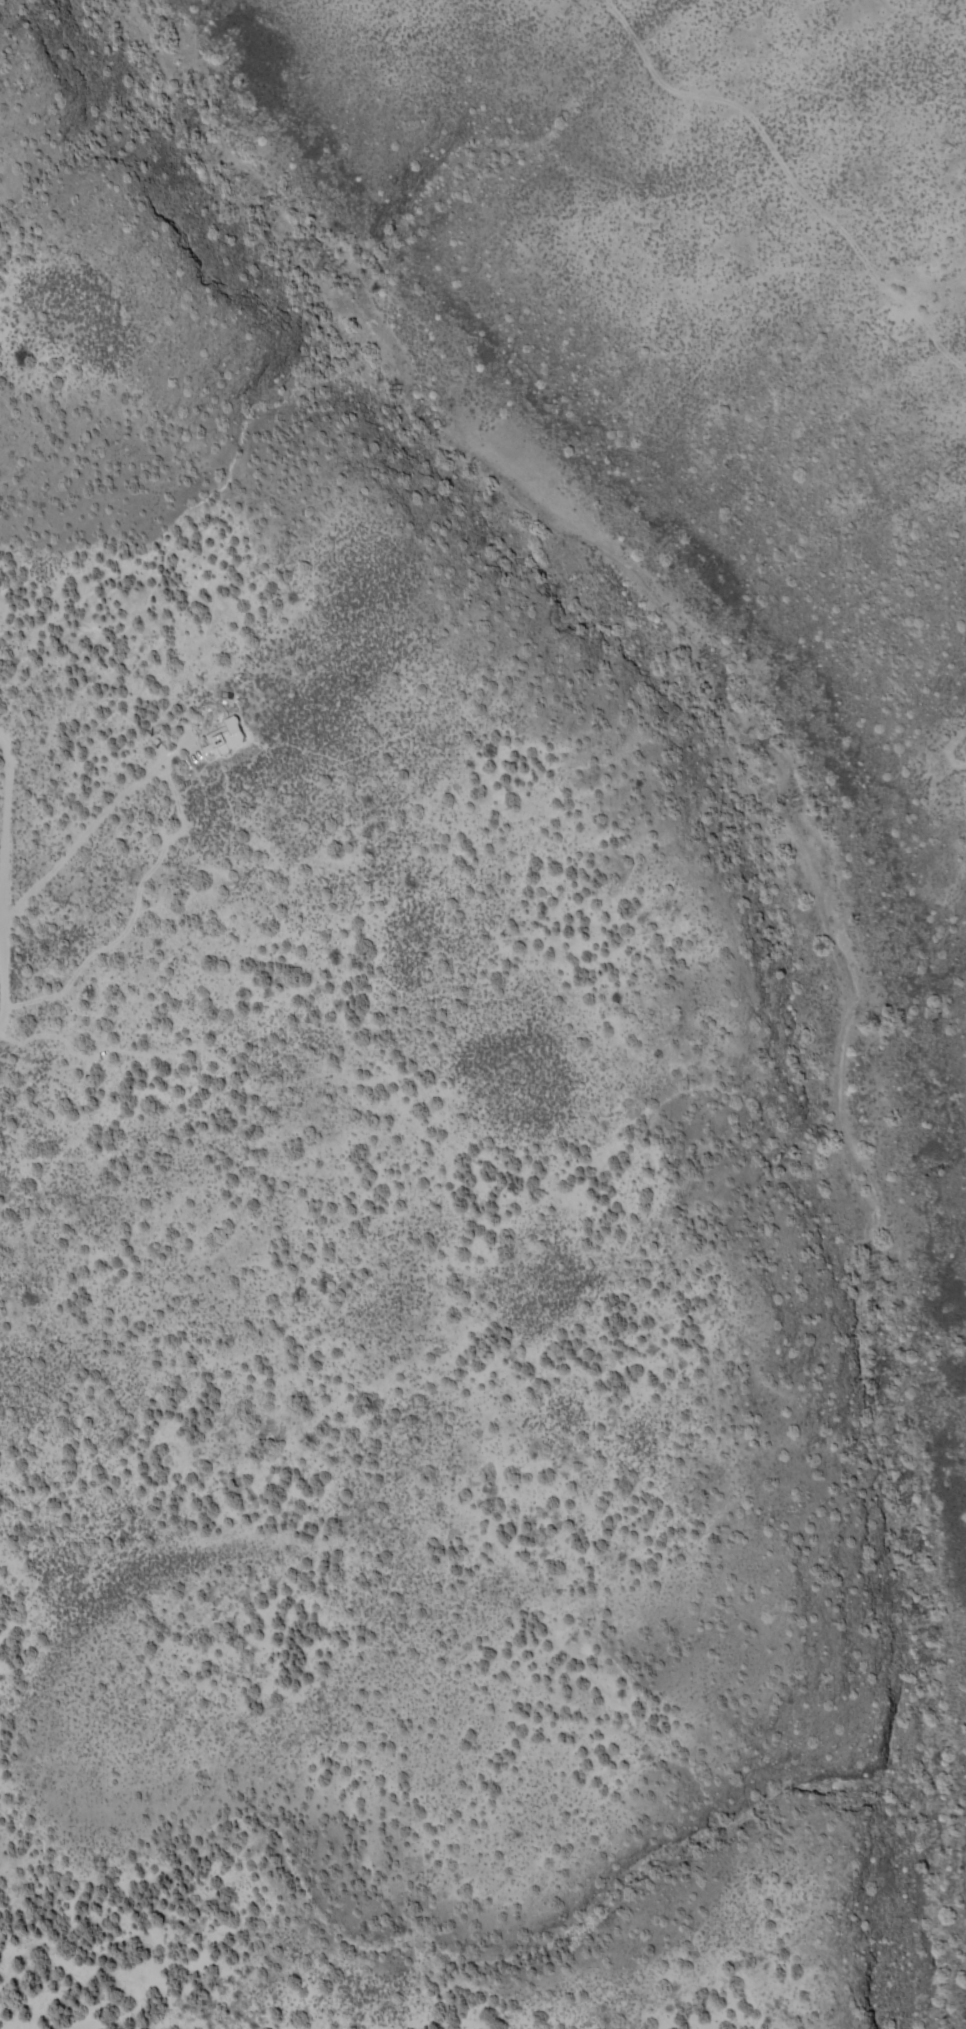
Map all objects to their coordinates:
road: (823, 220)
building: (222, 737)

